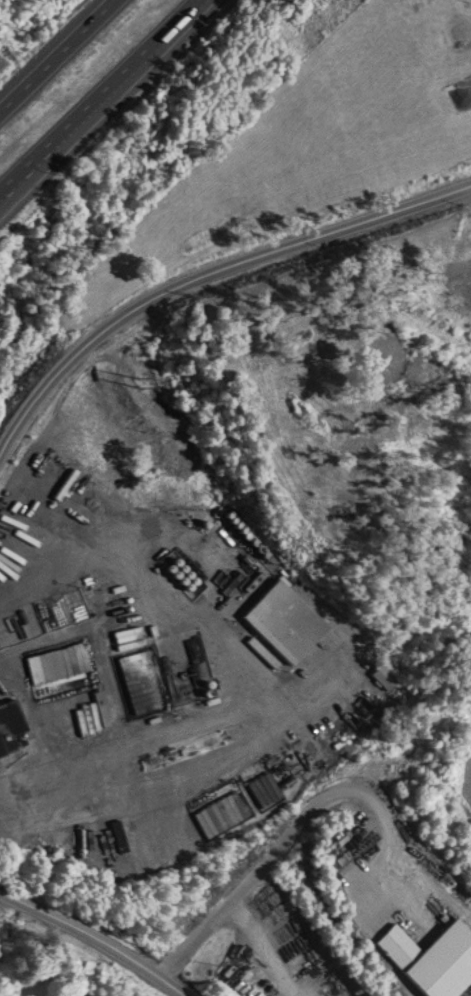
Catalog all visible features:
building: (457, 28)
road: (56, 54)
road: (101, 98)
road: (205, 279)
building: (284, 620)
building: (382, 671)
building: (11, 749)
building: (352, 865)
road: (97, 936)
road: (78, 957)

